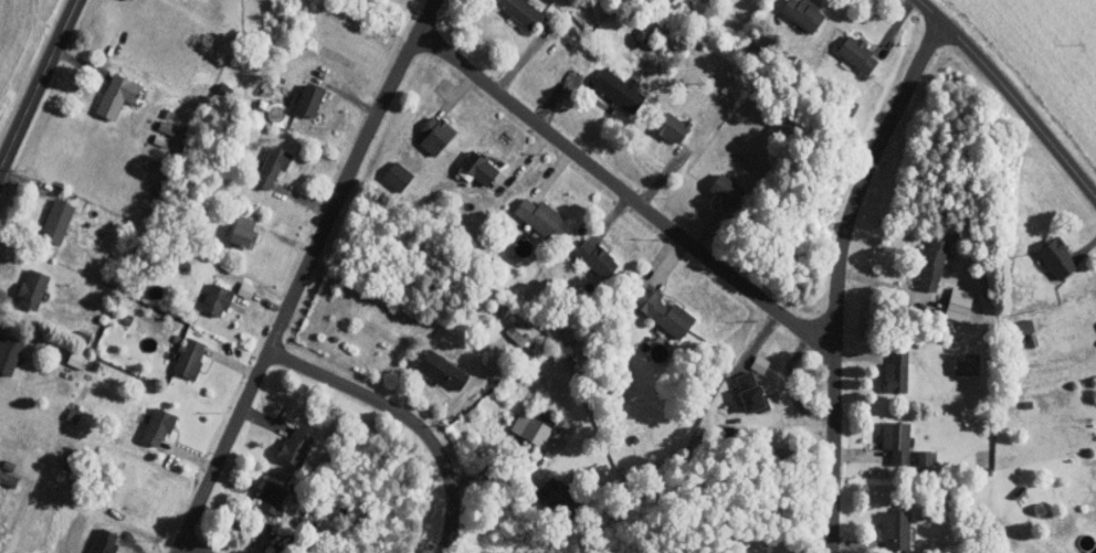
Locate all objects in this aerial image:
building: (524, 11)
building: (805, 12)
road: (893, 28)
building: (860, 53)
road: (523, 59)
road: (81, 62)
road: (38, 82)
building: (621, 89)
road: (455, 94)
building: (118, 95)
road: (348, 95)
road: (1011, 95)
road: (552, 99)
building: (312, 100)
building: (853, 108)
building: (168, 113)
building: (167, 126)
building: (674, 127)
building: (436, 134)
building: (160, 139)
road: (521, 160)
building: (274, 166)
building: (479, 167)
road: (551, 173)
road: (664, 174)
building: (399, 176)
road: (23, 180)
road: (623, 189)
building: (729, 189)
road: (304, 199)
building: (540, 216)
road: (610, 216)
building: (57, 221)
building: (245, 221)
road: (706, 230)
building: (242, 235)
road: (286, 237)
road: (1085, 247)
building: (598, 257)
building: (1058, 258)
building: (143, 260)
road: (667, 260)
building: (935, 263)
road: (302, 274)
road: (836, 274)
road: (890, 286)
building: (34, 288)
building: (246, 289)
road: (7, 294)
building: (218, 299)
road: (270, 304)
building: (524, 304)
building: (960, 304)
building: (665, 311)
building: (127, 320)
building: (942, 325)
building: (1025, 327)
road: (0, 334)
building: (520, 336)
building: (83, 338)
building: (177, 338)
road: (758, 341)
building: (1024, 341)
building: (10, 353)
road: (862, 355)
building: (190, 358)
building: (77, 359)
road: (232, 362)
building: (967, 363)
building: (94, 364)
building: (506, 369)
building: (443, 370)
building: (899, 372)
road: (790, 384)
building: (752, 392)
road: (463, 393)
building: (73, 414)
road: (407, 416)
road: (263, 419)
building: (159, 425)
building: (537, 432)
building: (893, 440)
building: (297, 446)
road: (188, 454)
road: (862, 455)
building: (9, 466)
road: (487, 471)
building: (1020, 492)
building: (561, 497)
building: (273, 498)
building: (338, 508)
building: (897, 529)
road: (264, 538)
road: (858, 543)
road: (191, 547)
building: (1094, 550)

